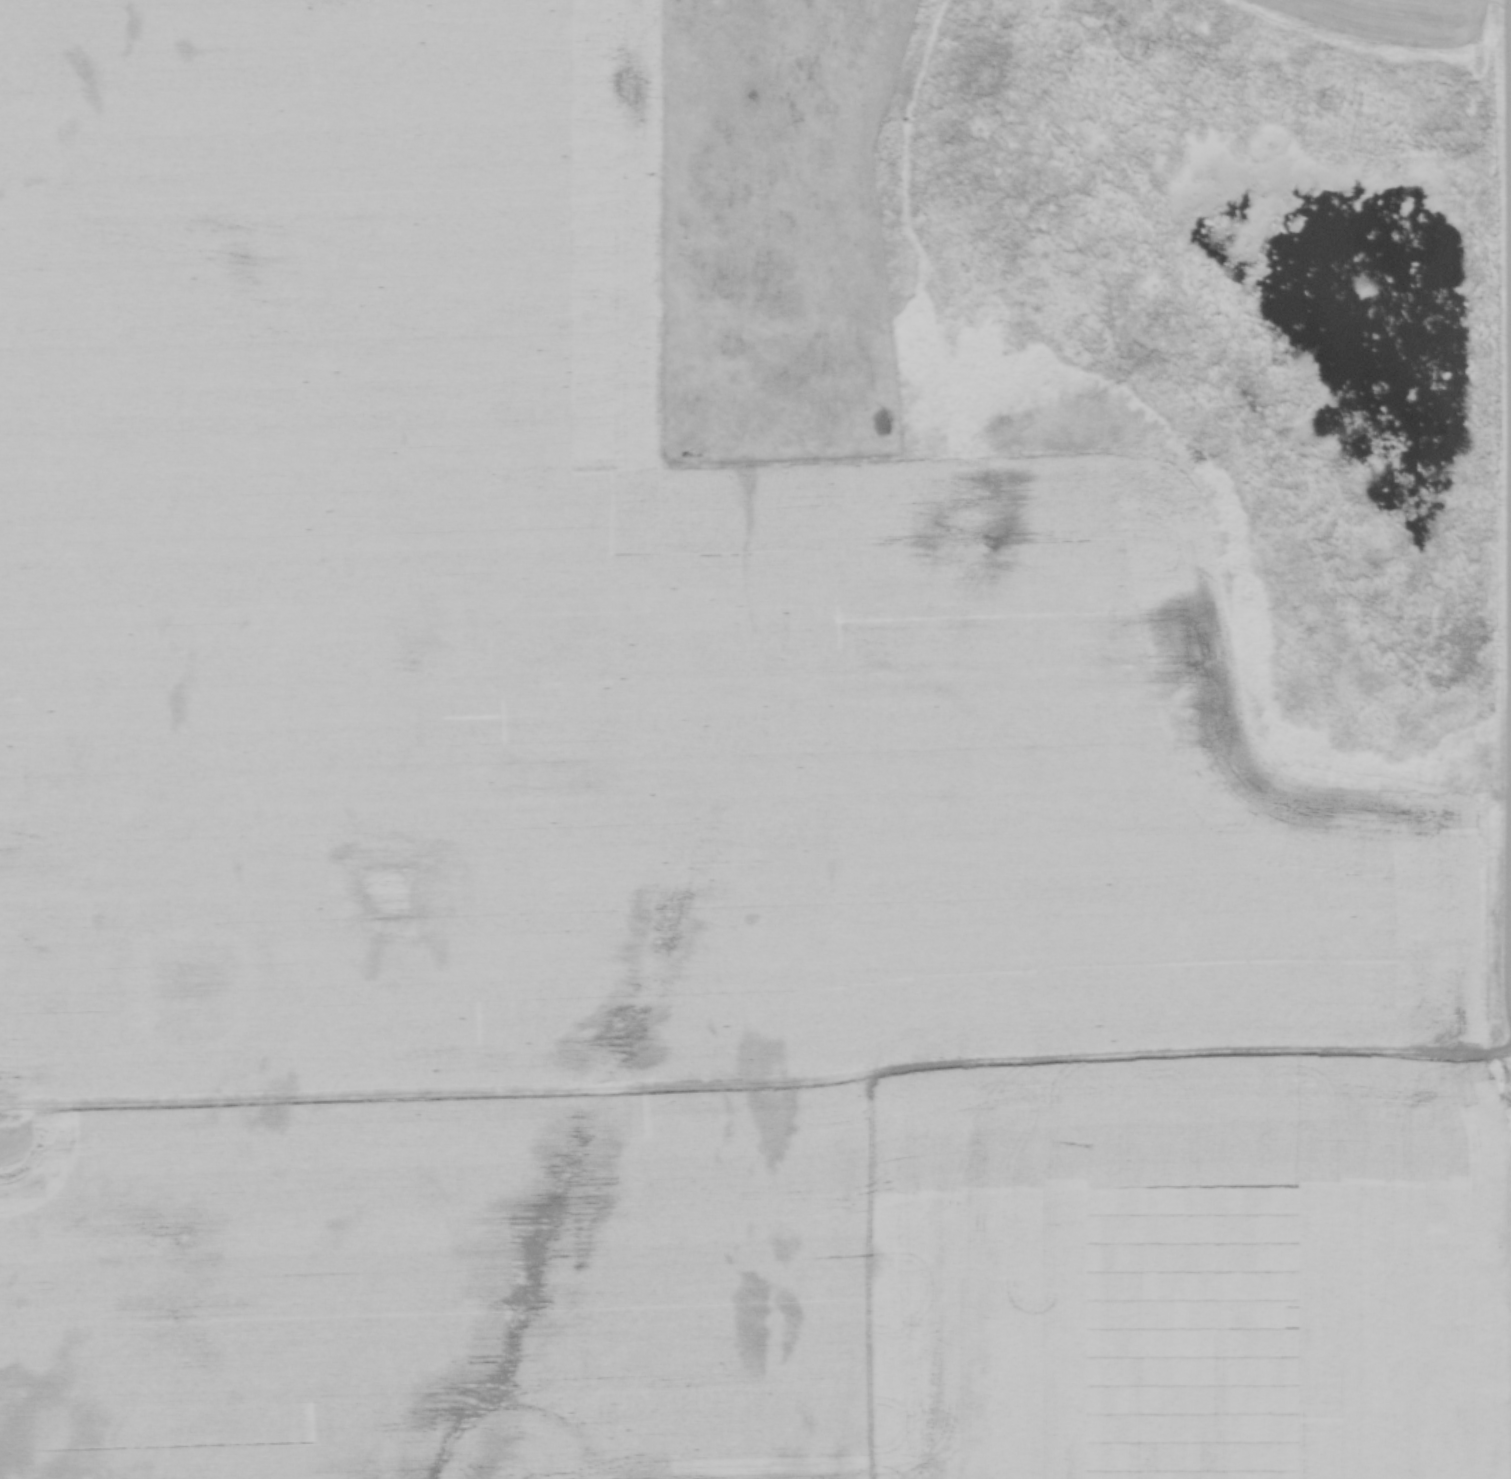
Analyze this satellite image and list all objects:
road: (755, 1082)

